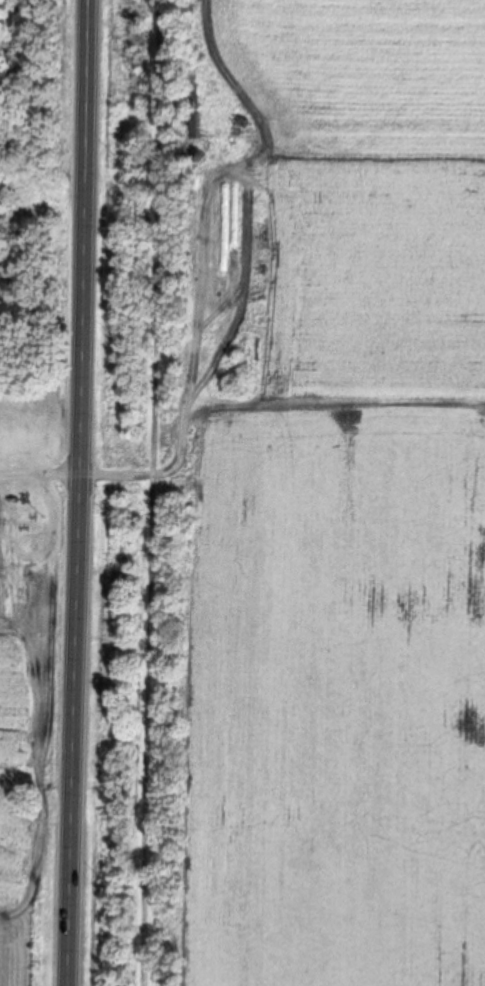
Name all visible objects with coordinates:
building: (227, 237)
road: (151, 492)
road: (79, 493)
building: (1, 535)

